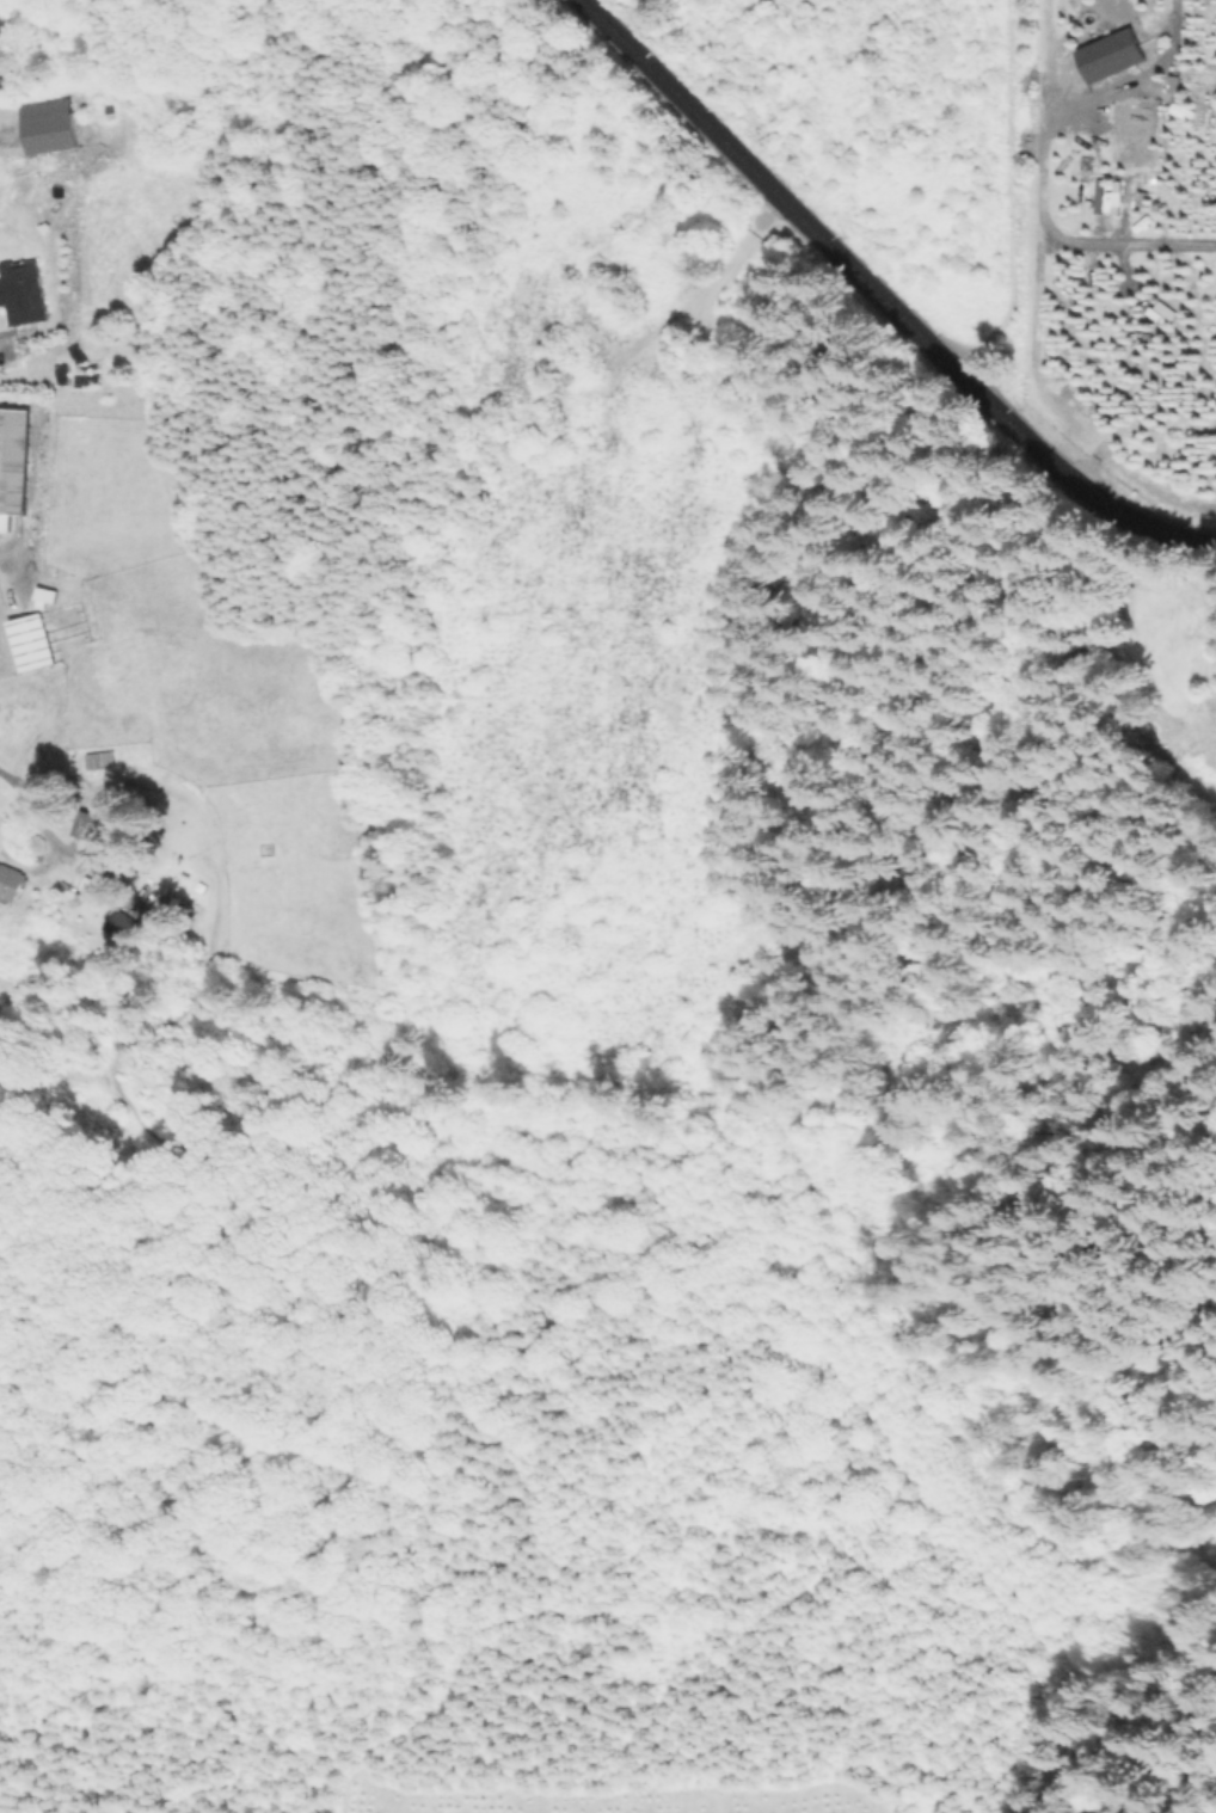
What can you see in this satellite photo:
building: (68, 109)
building: (42, 129)
road: (1034, 154)
building: (30, 276)
road: (878, 299)
building: (14, 449)
road: (1, 559)
building: (39, 596)
building: (25, 637)
building: (103, 750)
building: (92, 817)
building: (16, 867)
building: (131, 914)

